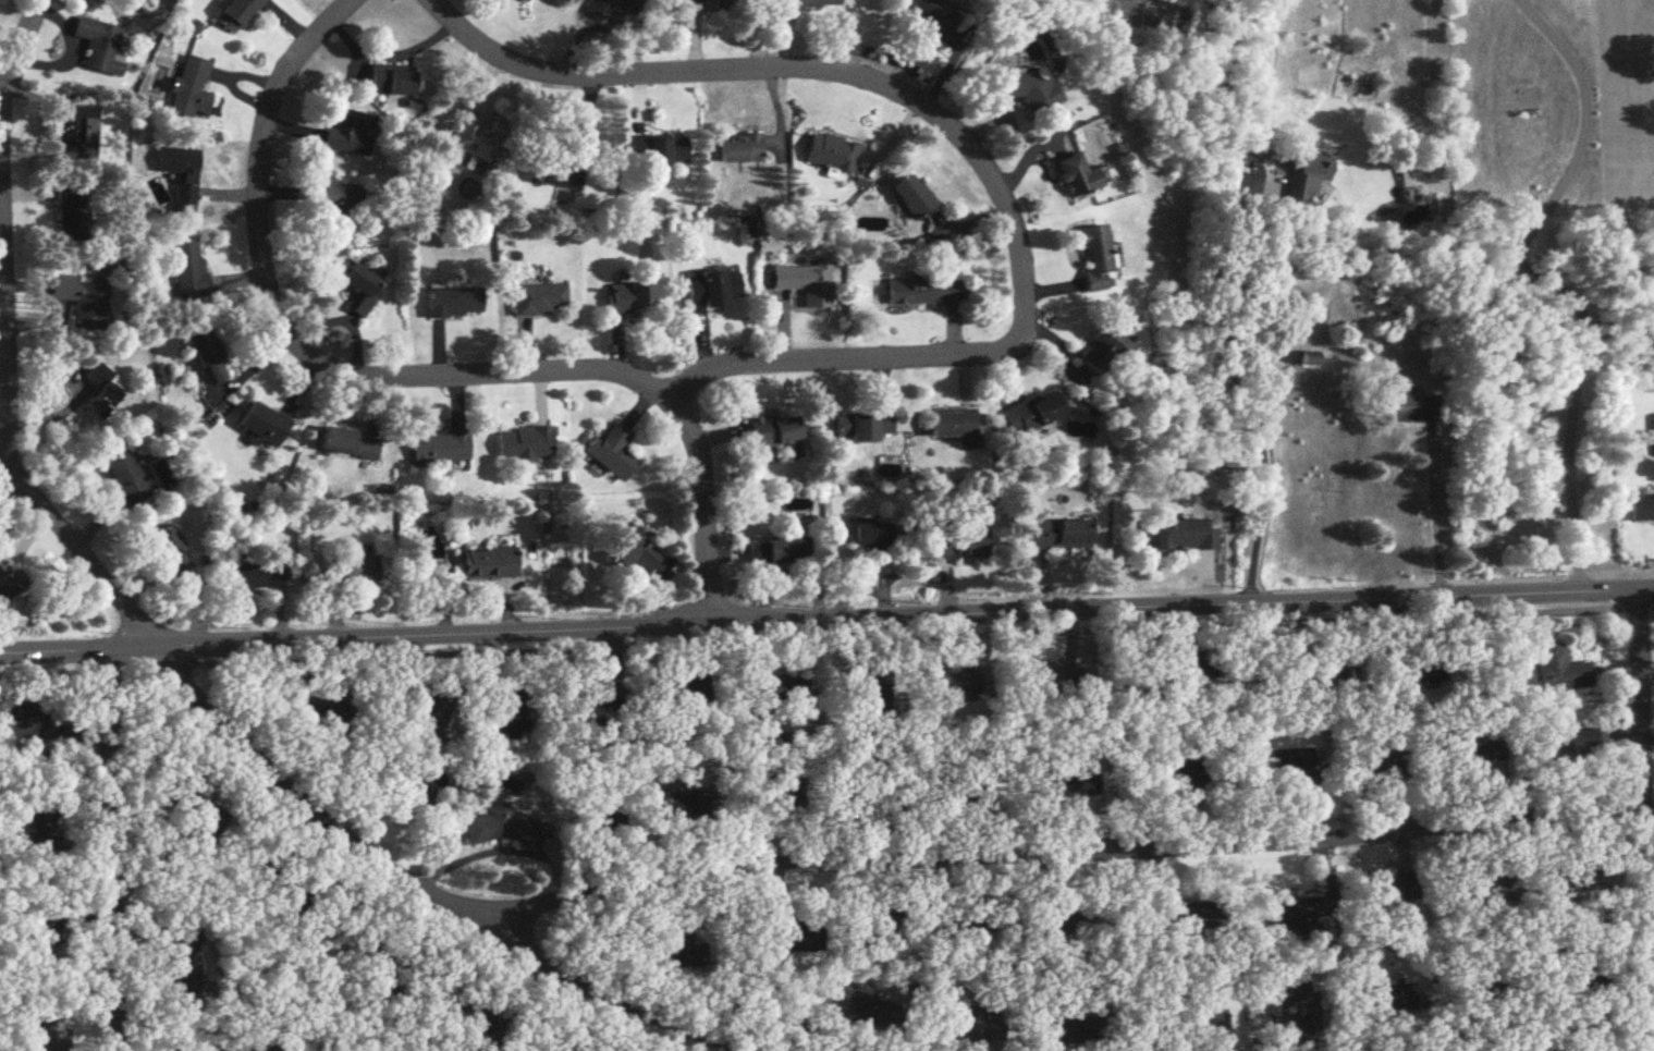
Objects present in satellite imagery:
building: (524, 0)
building: (703, 1)
building: (803, 2)
building: (596, 8)
building: (235, 14)
building: (931, 15)
building: (99, 45)
building: (391, 80)
building: (187, 85)
building: (1022, 86)
road: (2, 95)
building: (348, 131)
building: (79, 135)
building: (478, 140)
road: (969, 140)
building: (740, 148)
building: (657, 149)
building: (832, 152)
building: (180, 170)
building: (560, 171)
building: (1075, 174)
building: (1308, 178)
building: (911, 196)
building: (338, 203)
road: (7, 212)
building: (71, 216)
building: (1091, 257)
building: (188, 268)
building: (804, 282)
road: (1535, 282)
building: (359, 285)
building: (712, 286)
building: (921, 290)
building: (629, 296)
building: (83, 298)
building: (537, 298)
building: (452, 302)
building: (1101, 350)
building: (205, 356)
road: (406, 377)
building: (101, 390)
building: (1411, 406)
building: (1033, 413)
road: (1263, 417)
building: (261, 425)
building: (953, 426)
building: (862, 427)
building: (773, 430)
building: (1653, 435)
building: (347, 443)
building: (524, 444)
building: (439, 447)
building: (611, 452)
building: (126, 478)
building: (1641, 508)
road: (1434, 513)
building: (1545, 514)
building: (861, 529)
building: (1055, 530)
building: (1181, 535)
building: (959, 541)
road: (724, 547)
building: (774, 548)
building: (167, 549)
building: (632, 551)
building: (488, 563)
building: (354, 570)
building: (257, 575)
road: (779, 575)
building: (8, 578)
road: (826, 621)
road: (826, 638)
building: (1193, 665)
building: (1557, 668)
building: (1418, 670)
building: (1332, 676)
building: (951, 684)
building: (681, 688)
building: (773, 692)
building: (599, 696)
building: (291, 701)
building: (415, 711)
building: (513, 711)
building: (26, 718)
building: (322, 719)
building: (1568, 742)
building: (1377, 766)
building: (1179, 771)
building: (1287, 772)
building: (1058, 783)
building: (971, 791)
building: (788, 792)
building: (411, 794)
building: (194, 807)
road: (328, 819)
road: (1646, 819)
building: (600, 821)
building: (40, 822)
building: (504, 828)
road: (107, 850)
road: (1058, 854)
park: (9, 861)
building: (1389, 888)
building: (1491, 889)
building: (1289, 913)
building: (965, 920)
building: (1062, 921)
building: (881, 928)
building: (793, 936)
building: (676, 953)
building: (385, 969)
building: (1582, 971)
building: (183, 974)
building: (1483, 977)
building: (1386, 998)
building: (1298, 1009)
building: (877, 1014)
building: (1209, 1022)
building: (971, 1025)
building: (1059, 1027)
building: (45, 1034)

